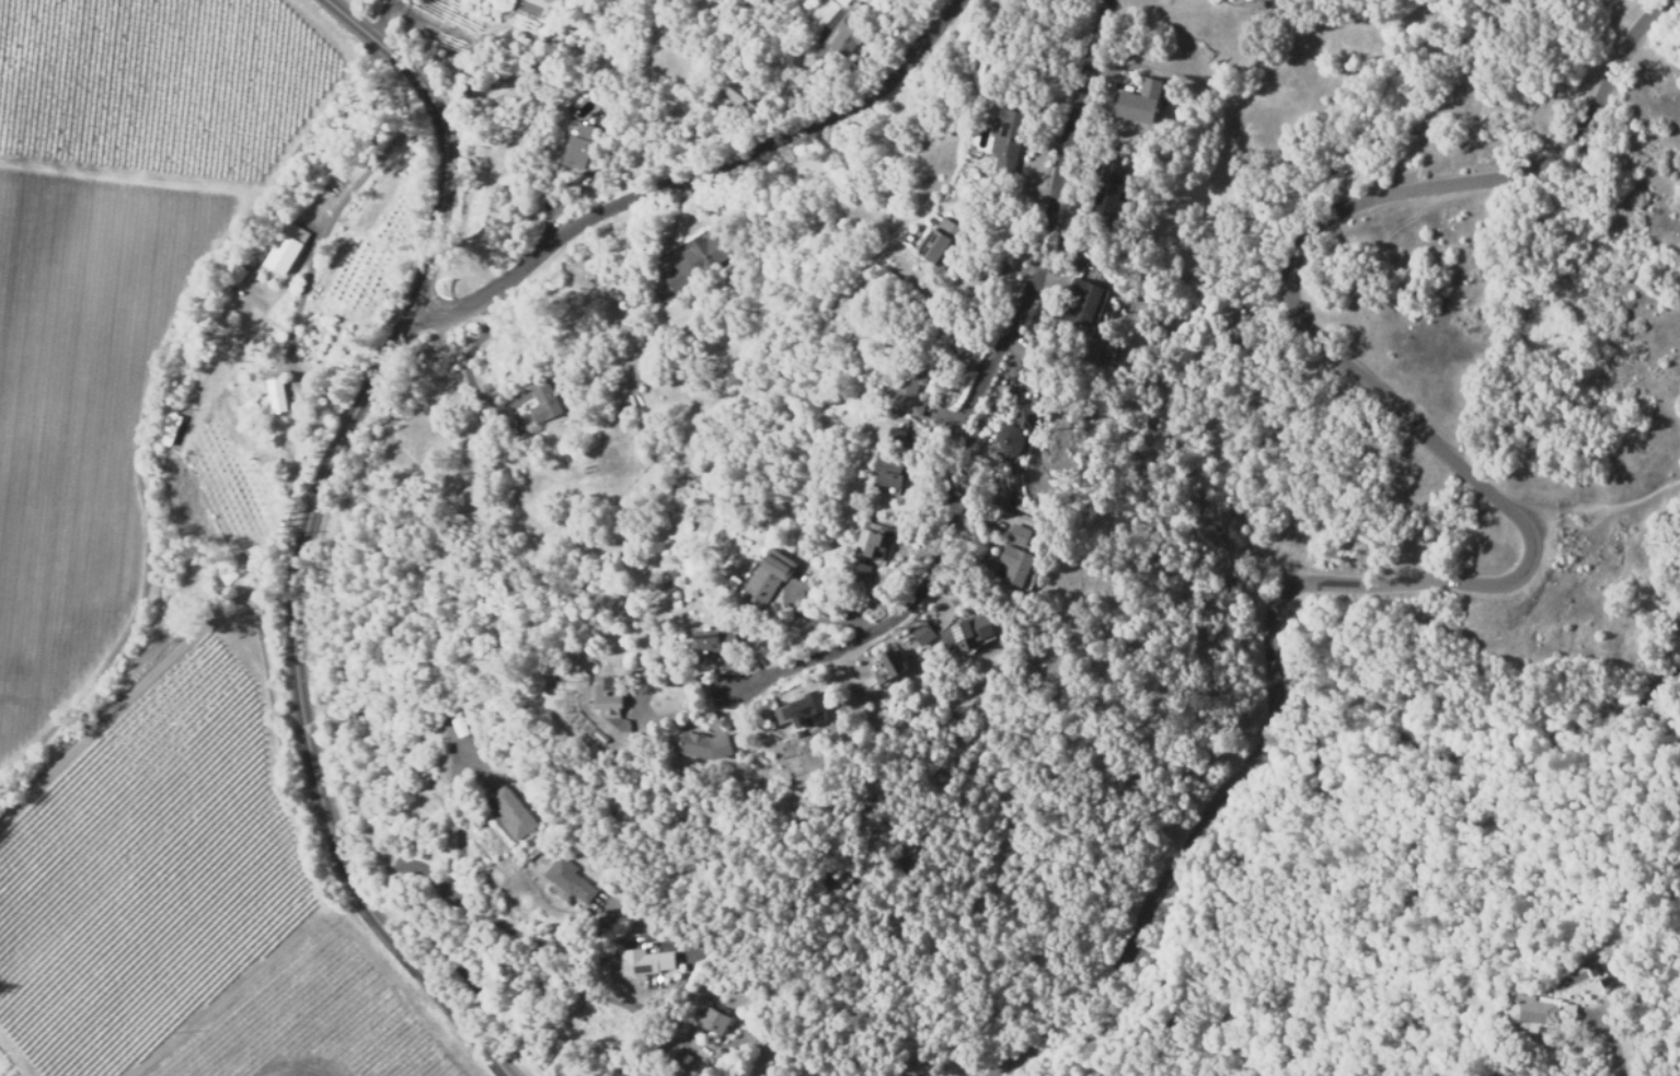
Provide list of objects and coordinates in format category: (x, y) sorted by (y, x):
road: (386, 21)
building: (853, 32)
building: (751, 90)
building: (741, 102)
building: (1139, 102)
building: (1005, 146)
building: (583, 149)
road: (699, 174)
road: (118, 175)
building: (1108, 188)
building: (1121, 188)
building: (955, 238)
building: (940, 241)
building: (286, 247)
building: (695, 263)
building: (1081, 302)
building: (907, 391)
building: (921, 391)
building: (274, 396)
road: (971, 403)
building: (543, 404)
building: (895, 436)
building: (912, 436)
building: (1009, 439)
building: (888, 468)
road: (306, 531)
building: (1017, 534)
road: (1527, 534)
building: (874, 543)
building: (1014, 564)
building: (870, 569)
building: (769, 574)
building: (855, 576)
building: (970, 632)
building: (924, 635)
building: (710, 646)
building: (899, 663)
building: (885, 667)
building: (607, 699)
building: (807, 709)
building: (460, 726)
building: (448, 730)
building: (444, 747)
building: (703, 747)
building: (513, 812)
building: (567, 881)
building: (702, 939)
road: (431, 942)
building: (645, 962)
building: (1606, 963)
building: (1615, 976)
building: (1575, 1004)
building: (1541, 1005)
building: (1572, 1020)
building: (713, 1022)
road: (1612, 1044)
building: (676, 1063)

